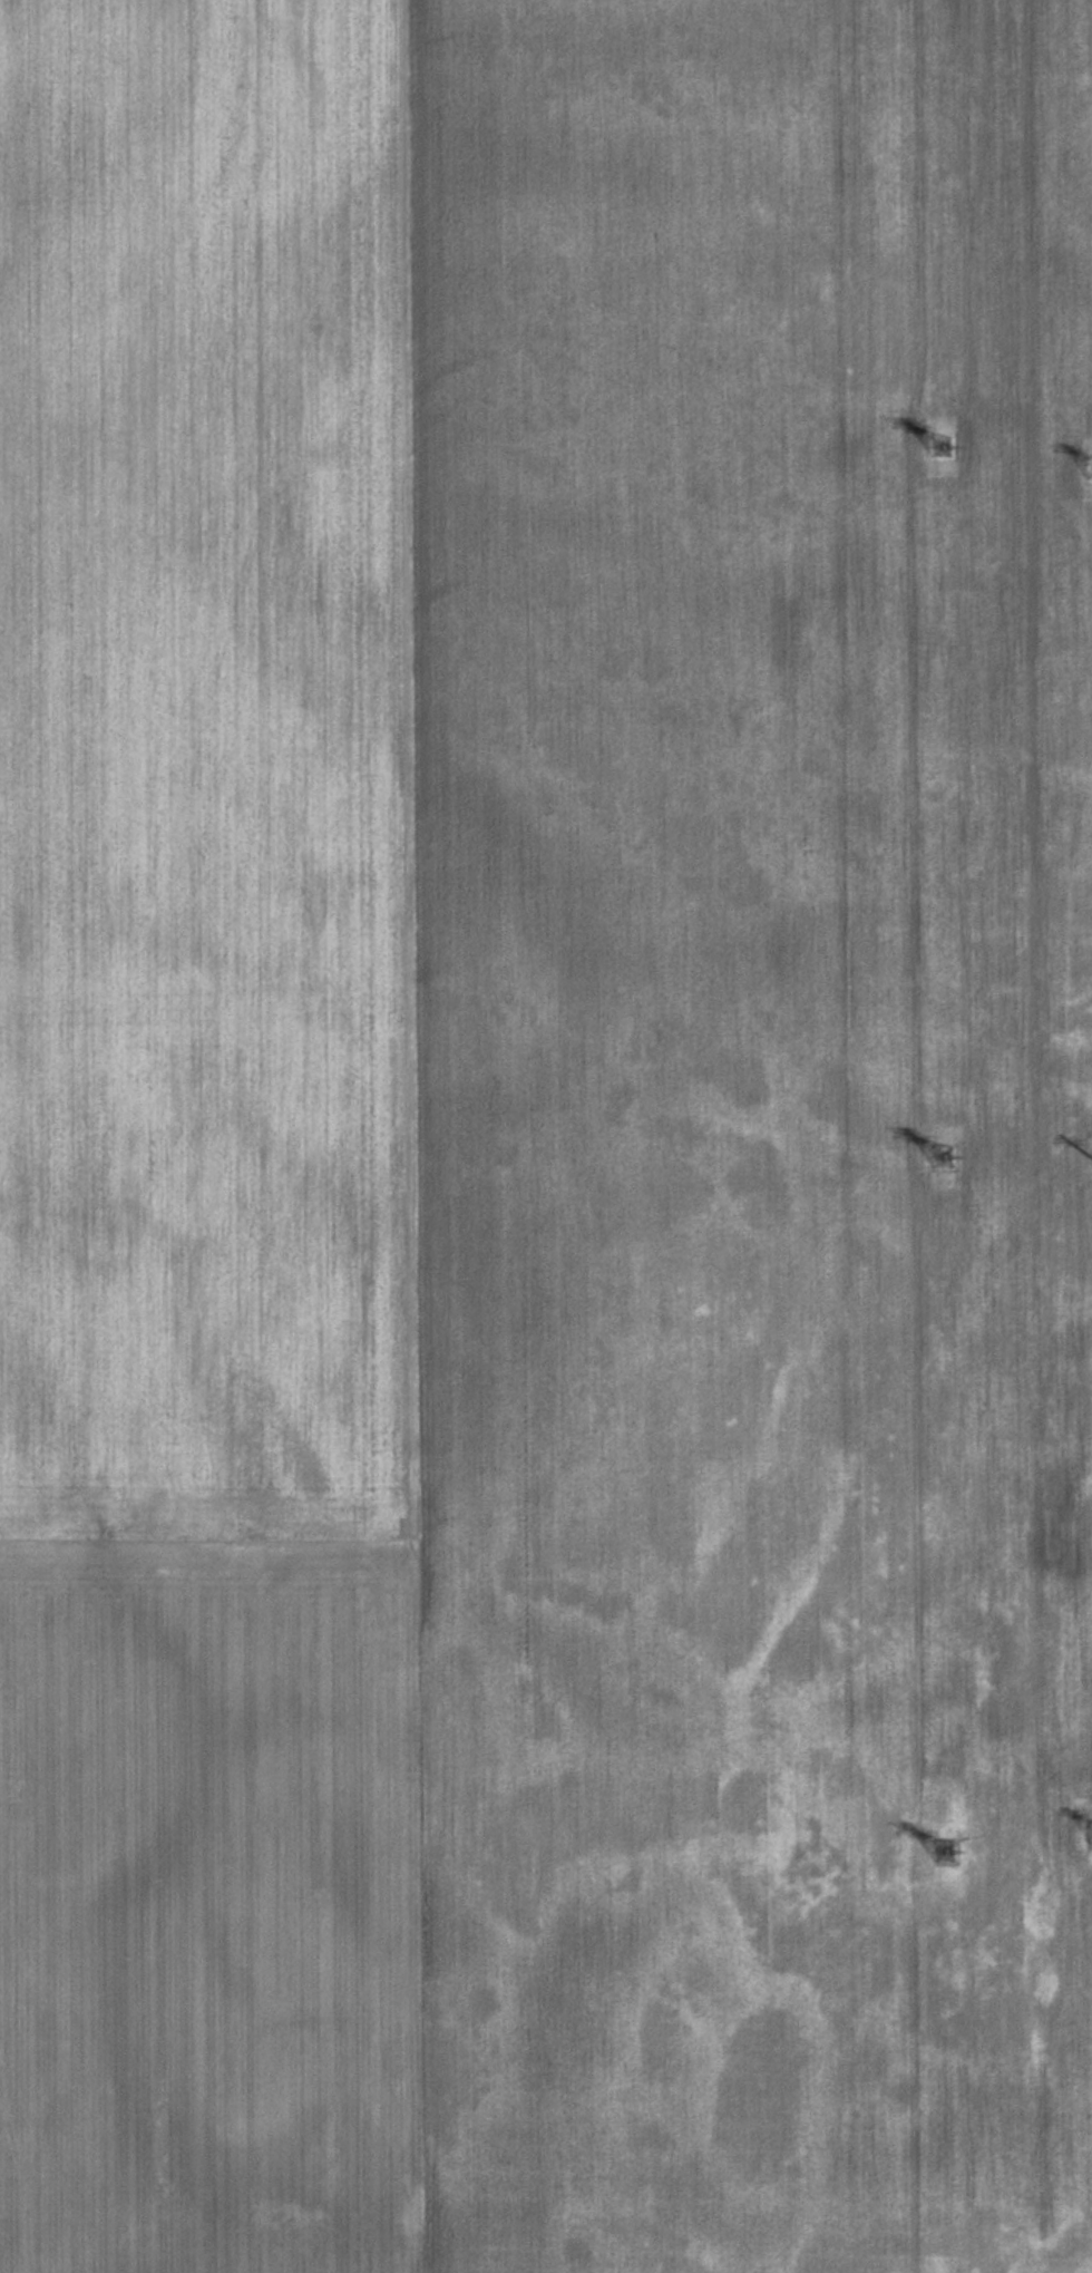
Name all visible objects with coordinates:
power tower: (938, 446)
power tower: (938, 1157)
power tower: (940, 1855)

